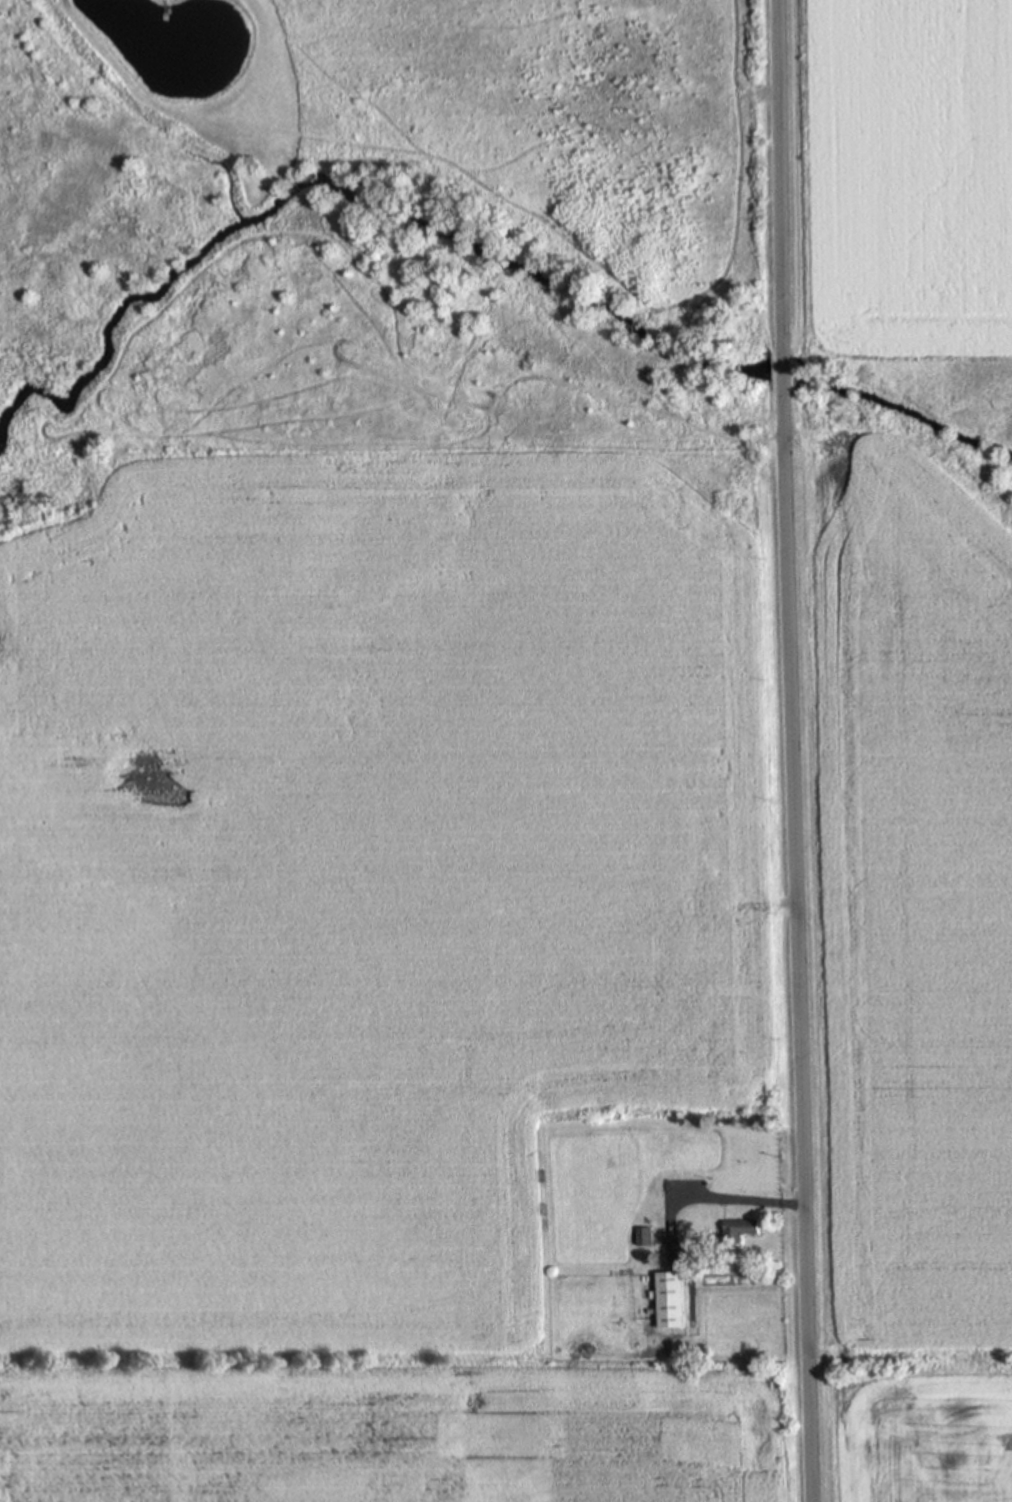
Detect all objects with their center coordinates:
road: (779, 175)
road: (783, 373)
road: (798, 949)
building: (735, 1228)
building: (663, 1297)

